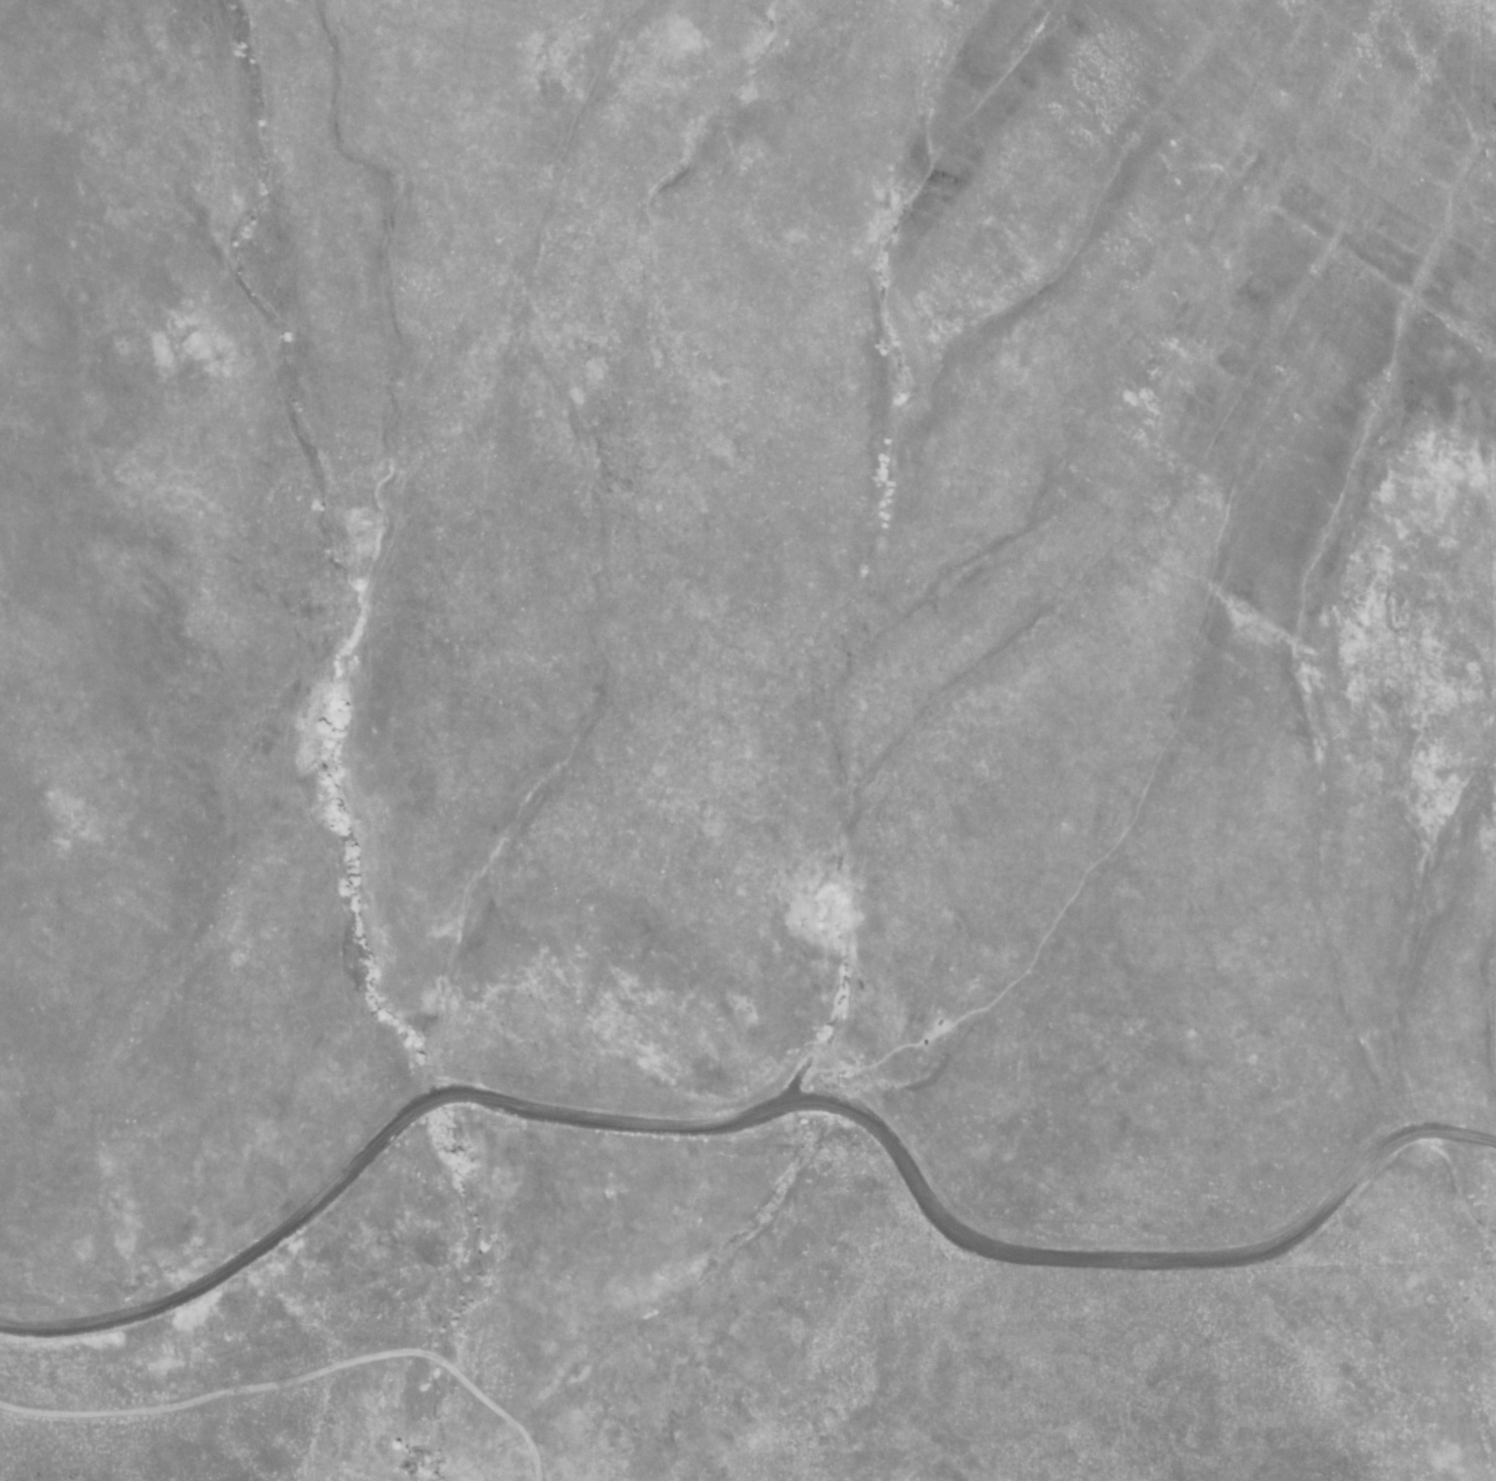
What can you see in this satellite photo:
road: (763, 1107)
road: (299, 1378)

